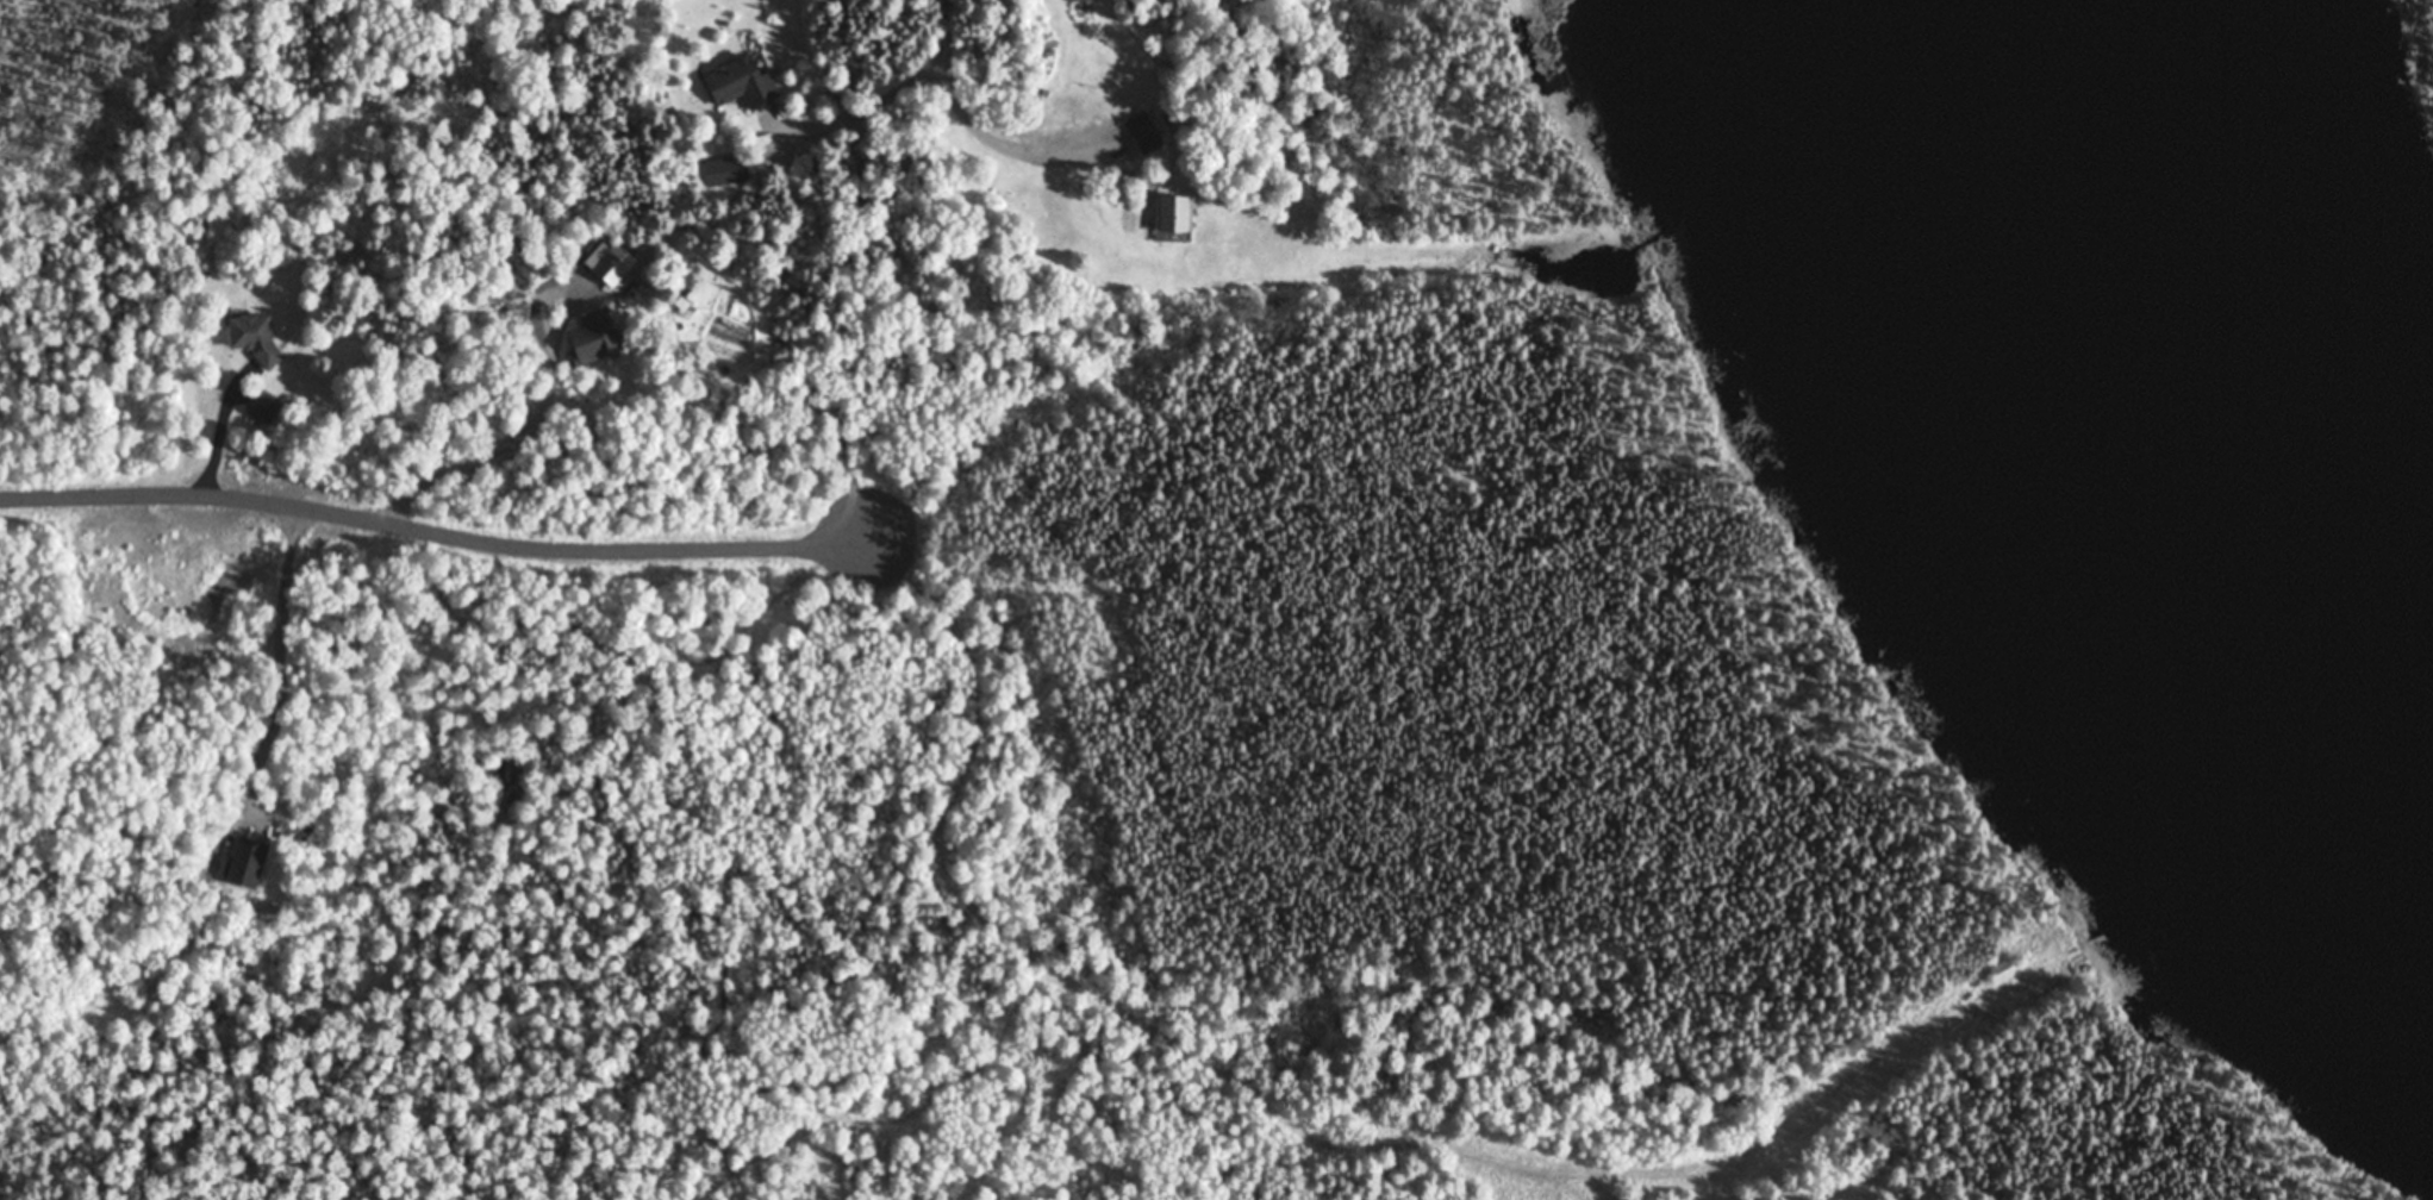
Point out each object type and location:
road: (952, 27)
building: (742, 85)
building: (1144, 133)
building: (1175, 215)
building: (615, 267)
building: (254, 337)
building: (594, 338)
building: (262, 407)
road: (588, 538)
building: (2003, 971)

